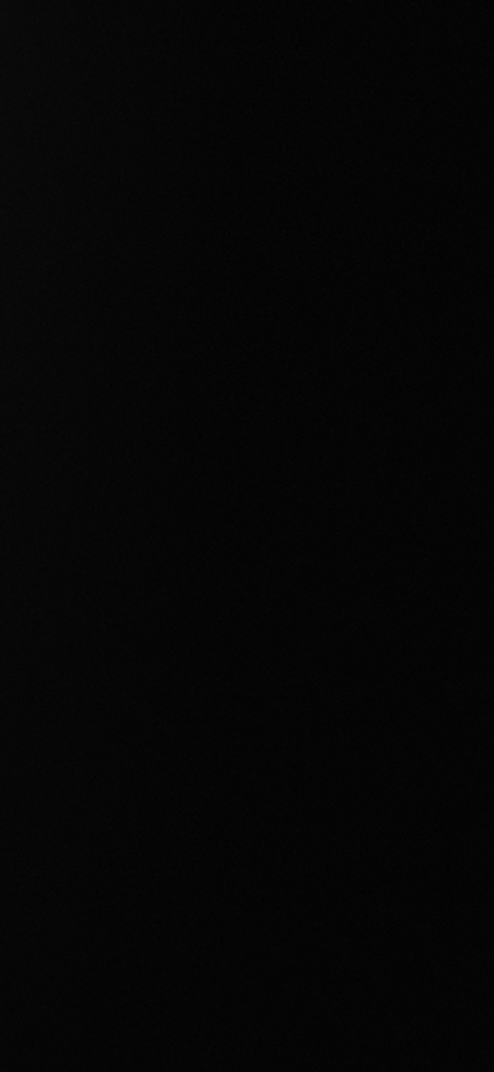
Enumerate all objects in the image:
river: (463, 945)

